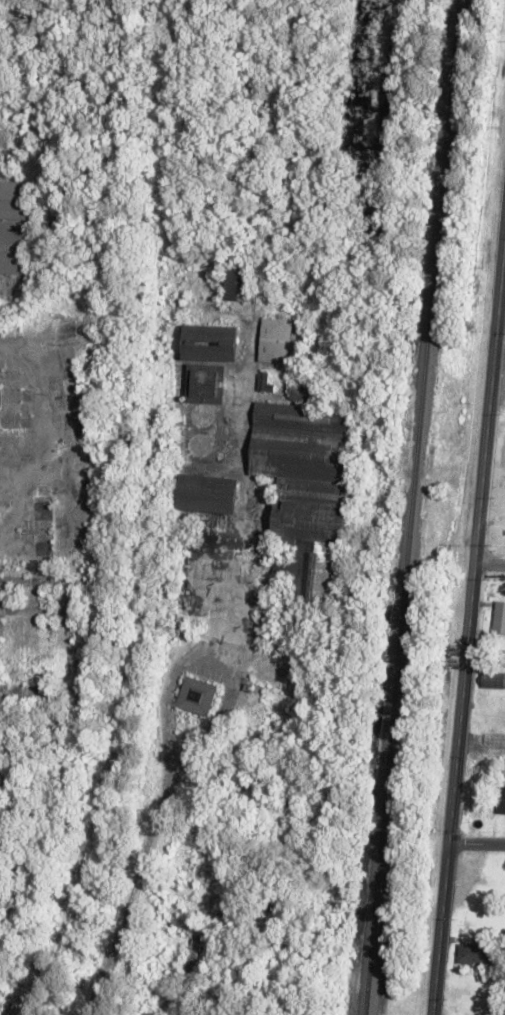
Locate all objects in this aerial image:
building: (17, 199)
building: (14, 251)
building: (241, 282)
road: (501, 314)
building: (0, 333)
building: (279, 340)
building: (211, 342)
building: (264, 381)
building: (206, 384)
building: (306, 490)
building: (208, 493)
railway: (410, 507)
road: (489, 567)
building: (498, 616)
road: (467, 625)
building: (492, 679)
building: (196, 695)
building: (501, 799)
road: (475, 844)
building: (475, 954)

